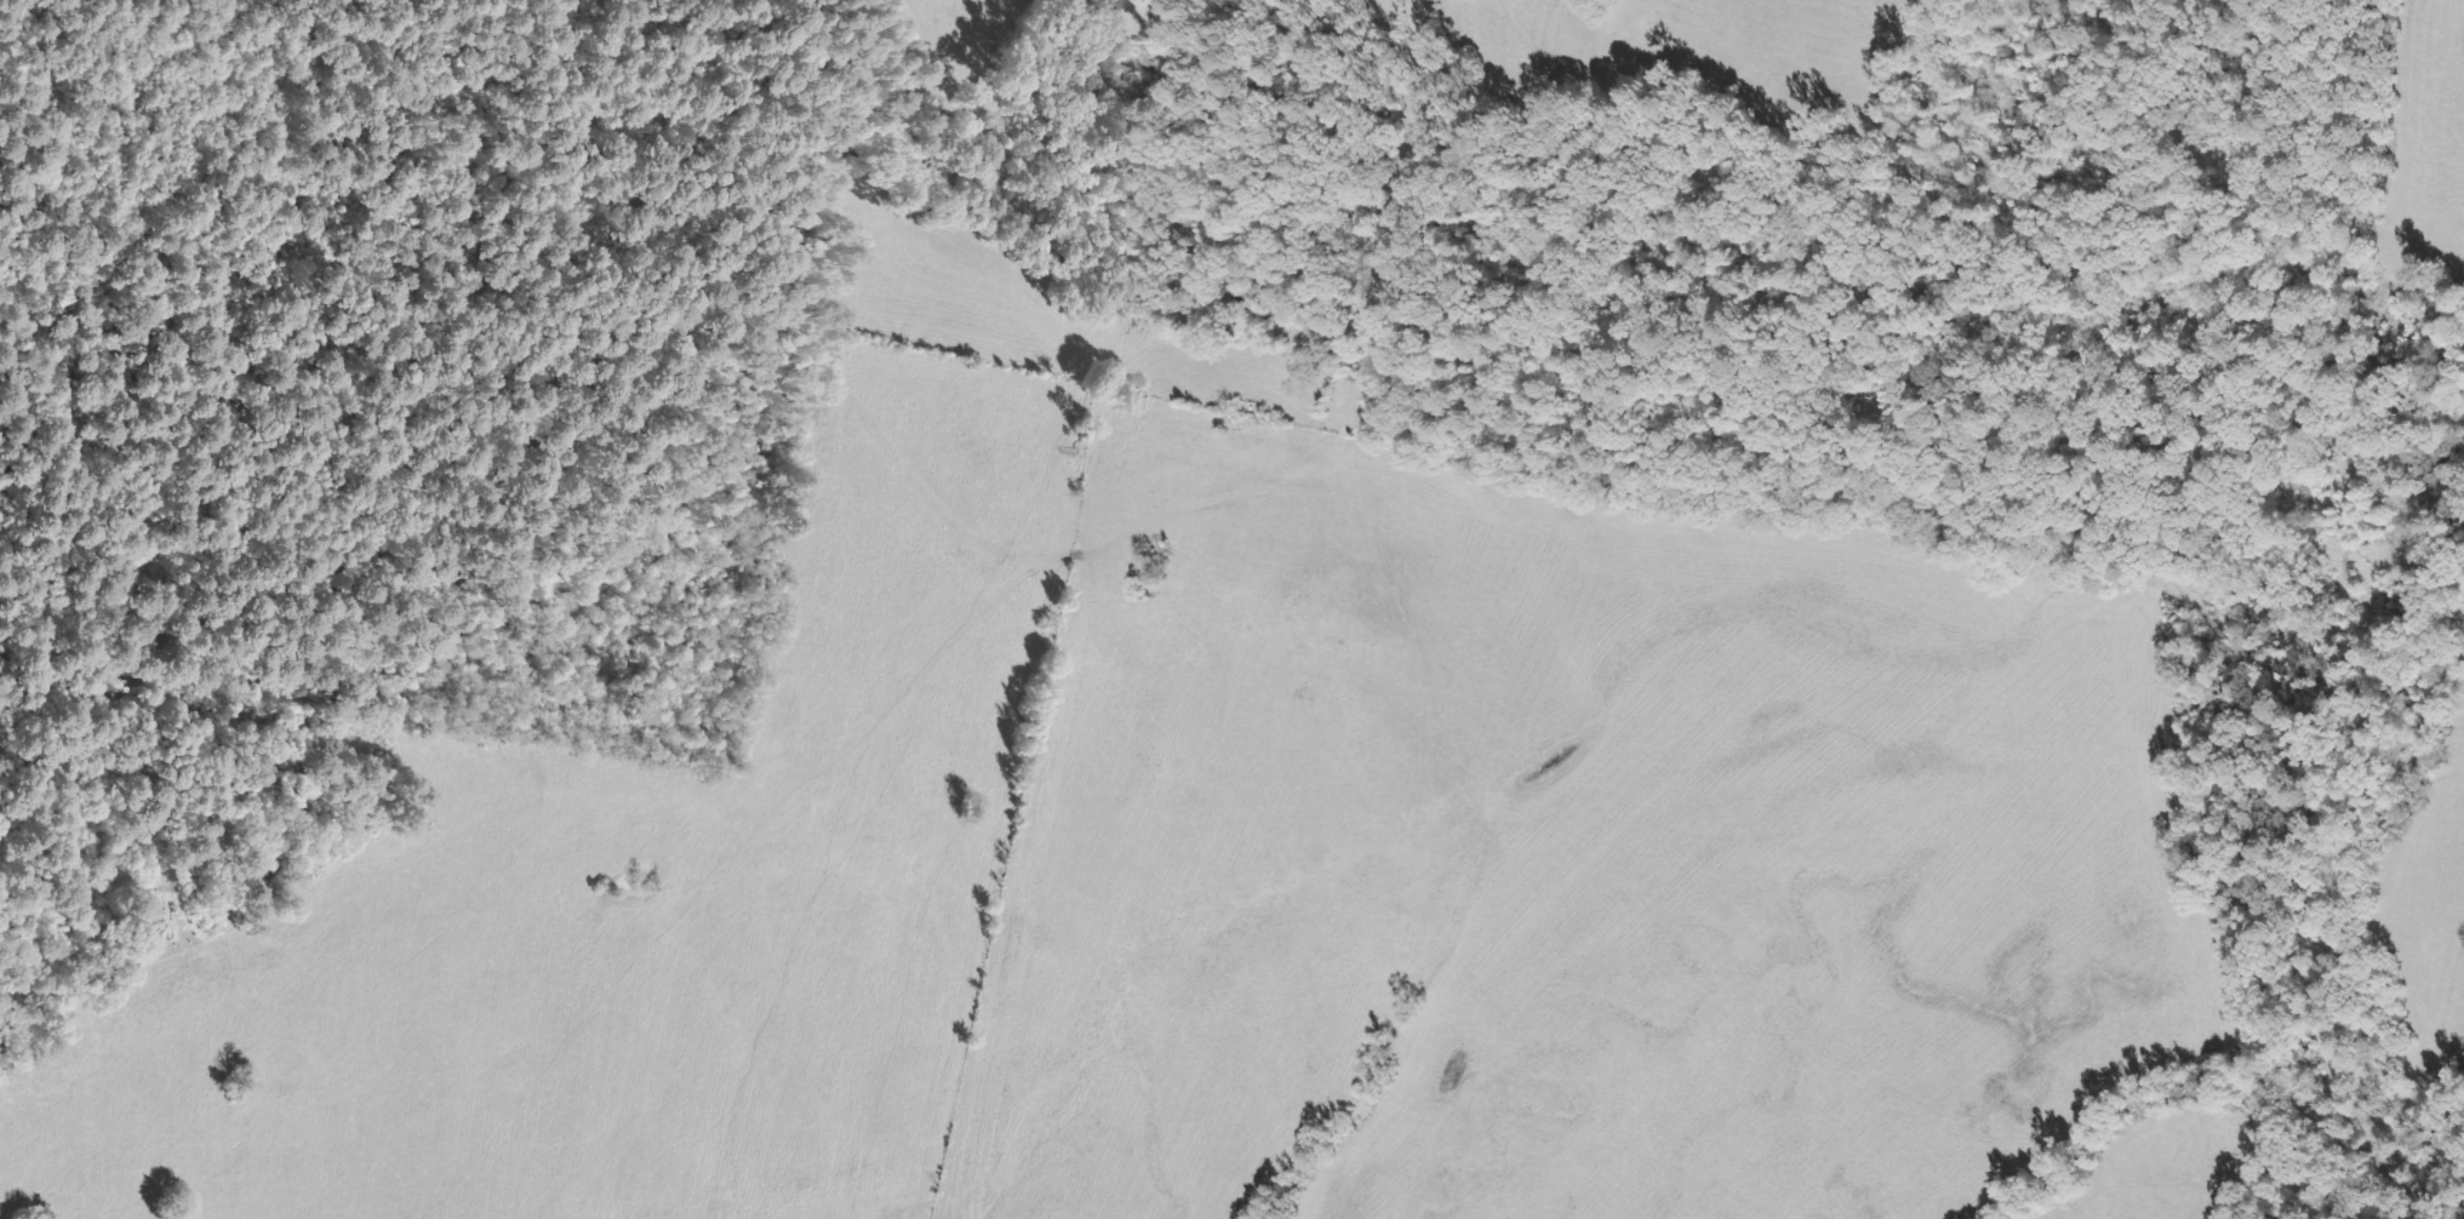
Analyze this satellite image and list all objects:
road: (1965, 1206)

